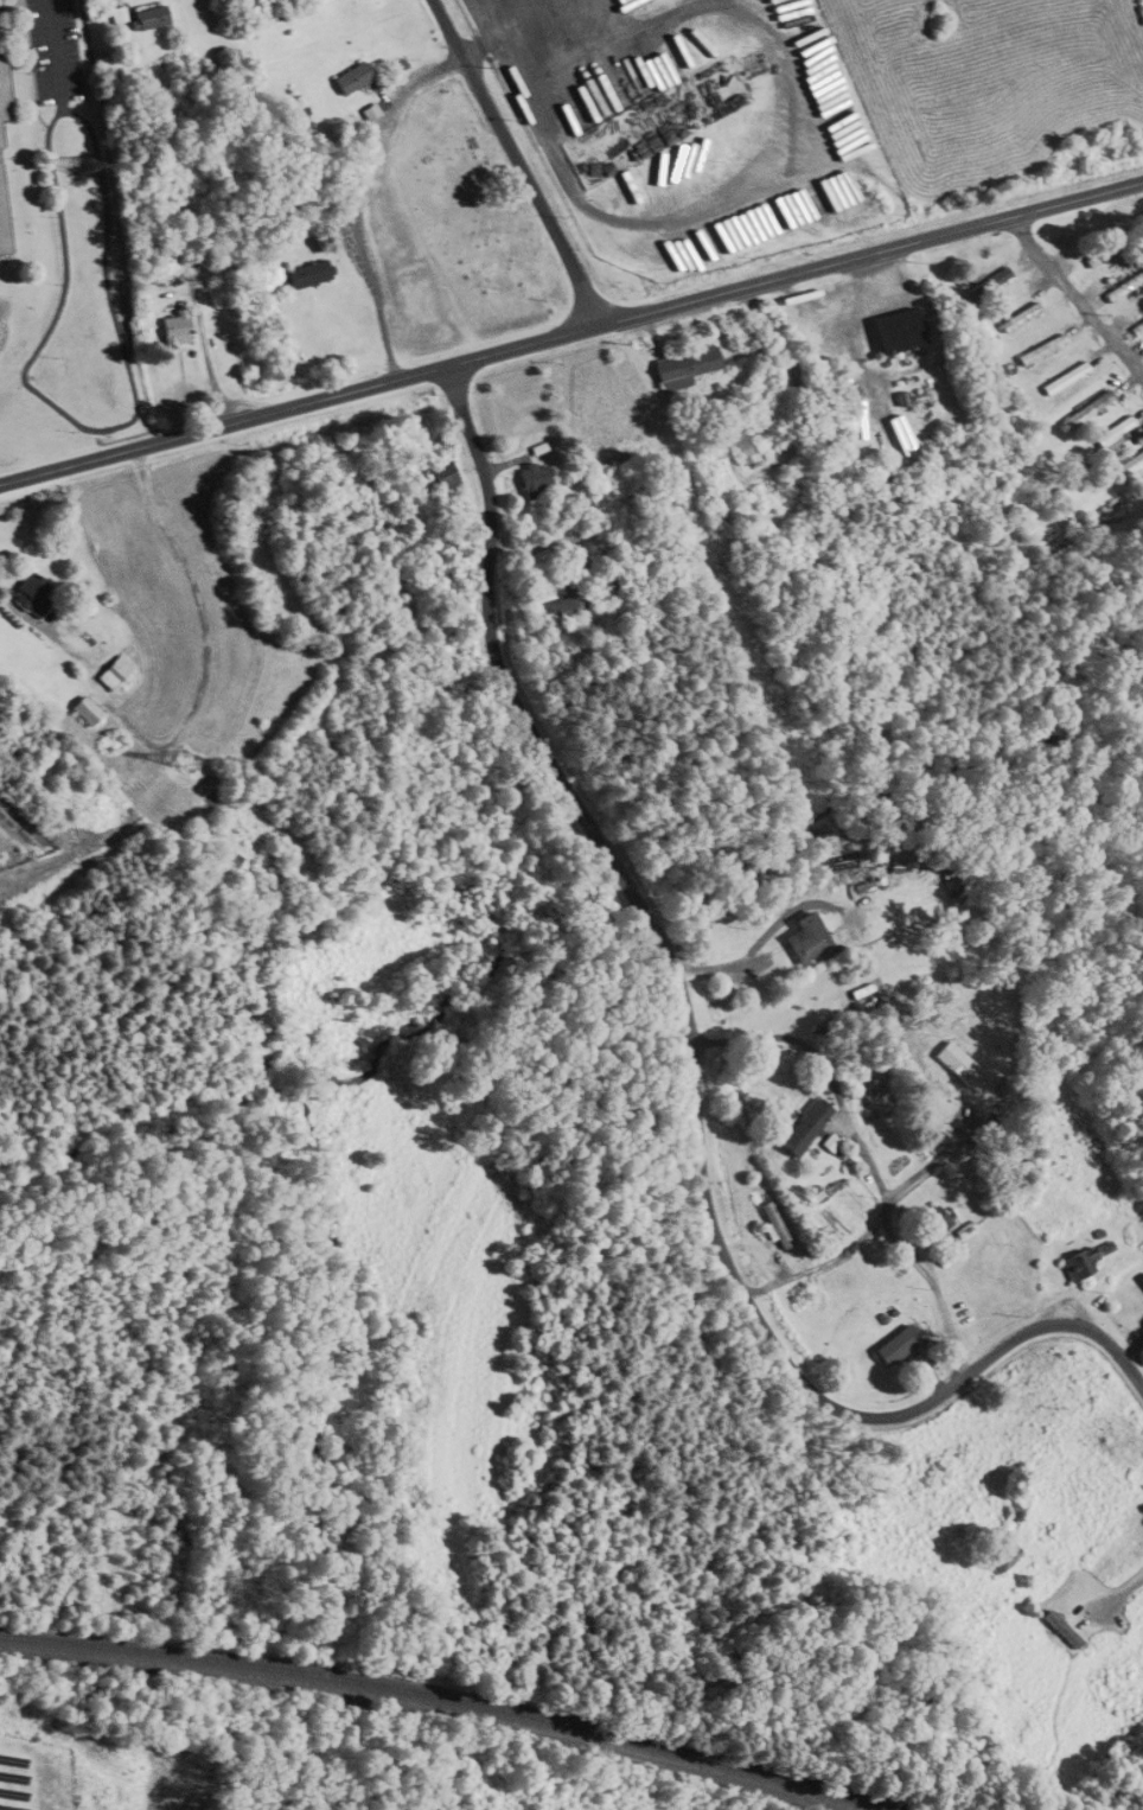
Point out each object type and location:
building: (147, 15)
building: (350, 78)
building: (5, 94)
road: (519, 160)
building: (4, 223)
building: (1097, 256)
building: (307, 273)
building: (985, 283)
building: (1122, 286)
road: (1077, 295)
building: (1017, 317)
building: (175, 327)
building: (1136, 327)
building: (895, 331)
road: (570, 332)
building: (1039, 349)
building: (685, 365)
building: (1062, 378)
building: (1085, 409)
building: (1113, 432)
building: (745, 436)
building: (894, 438)
building: (440, 476)
building: (532, 478)
building: (1142, 491)
building: (30, 597)
building: (567, 601)
building: (111, 671)
building: (83, 709)
building: (805, 937)
road: (691, 1062)
building: (803, 1126)
building: (937, 1221)
building: (772, 1225)
road: (858, 1238)
building: (1078, 1264)
building: (1142, 1280)
road: (937, 1290)
building: (895, 1345)
building: (1002, 1556)
building: (1061, 1629)
railway: (460, 1699)

